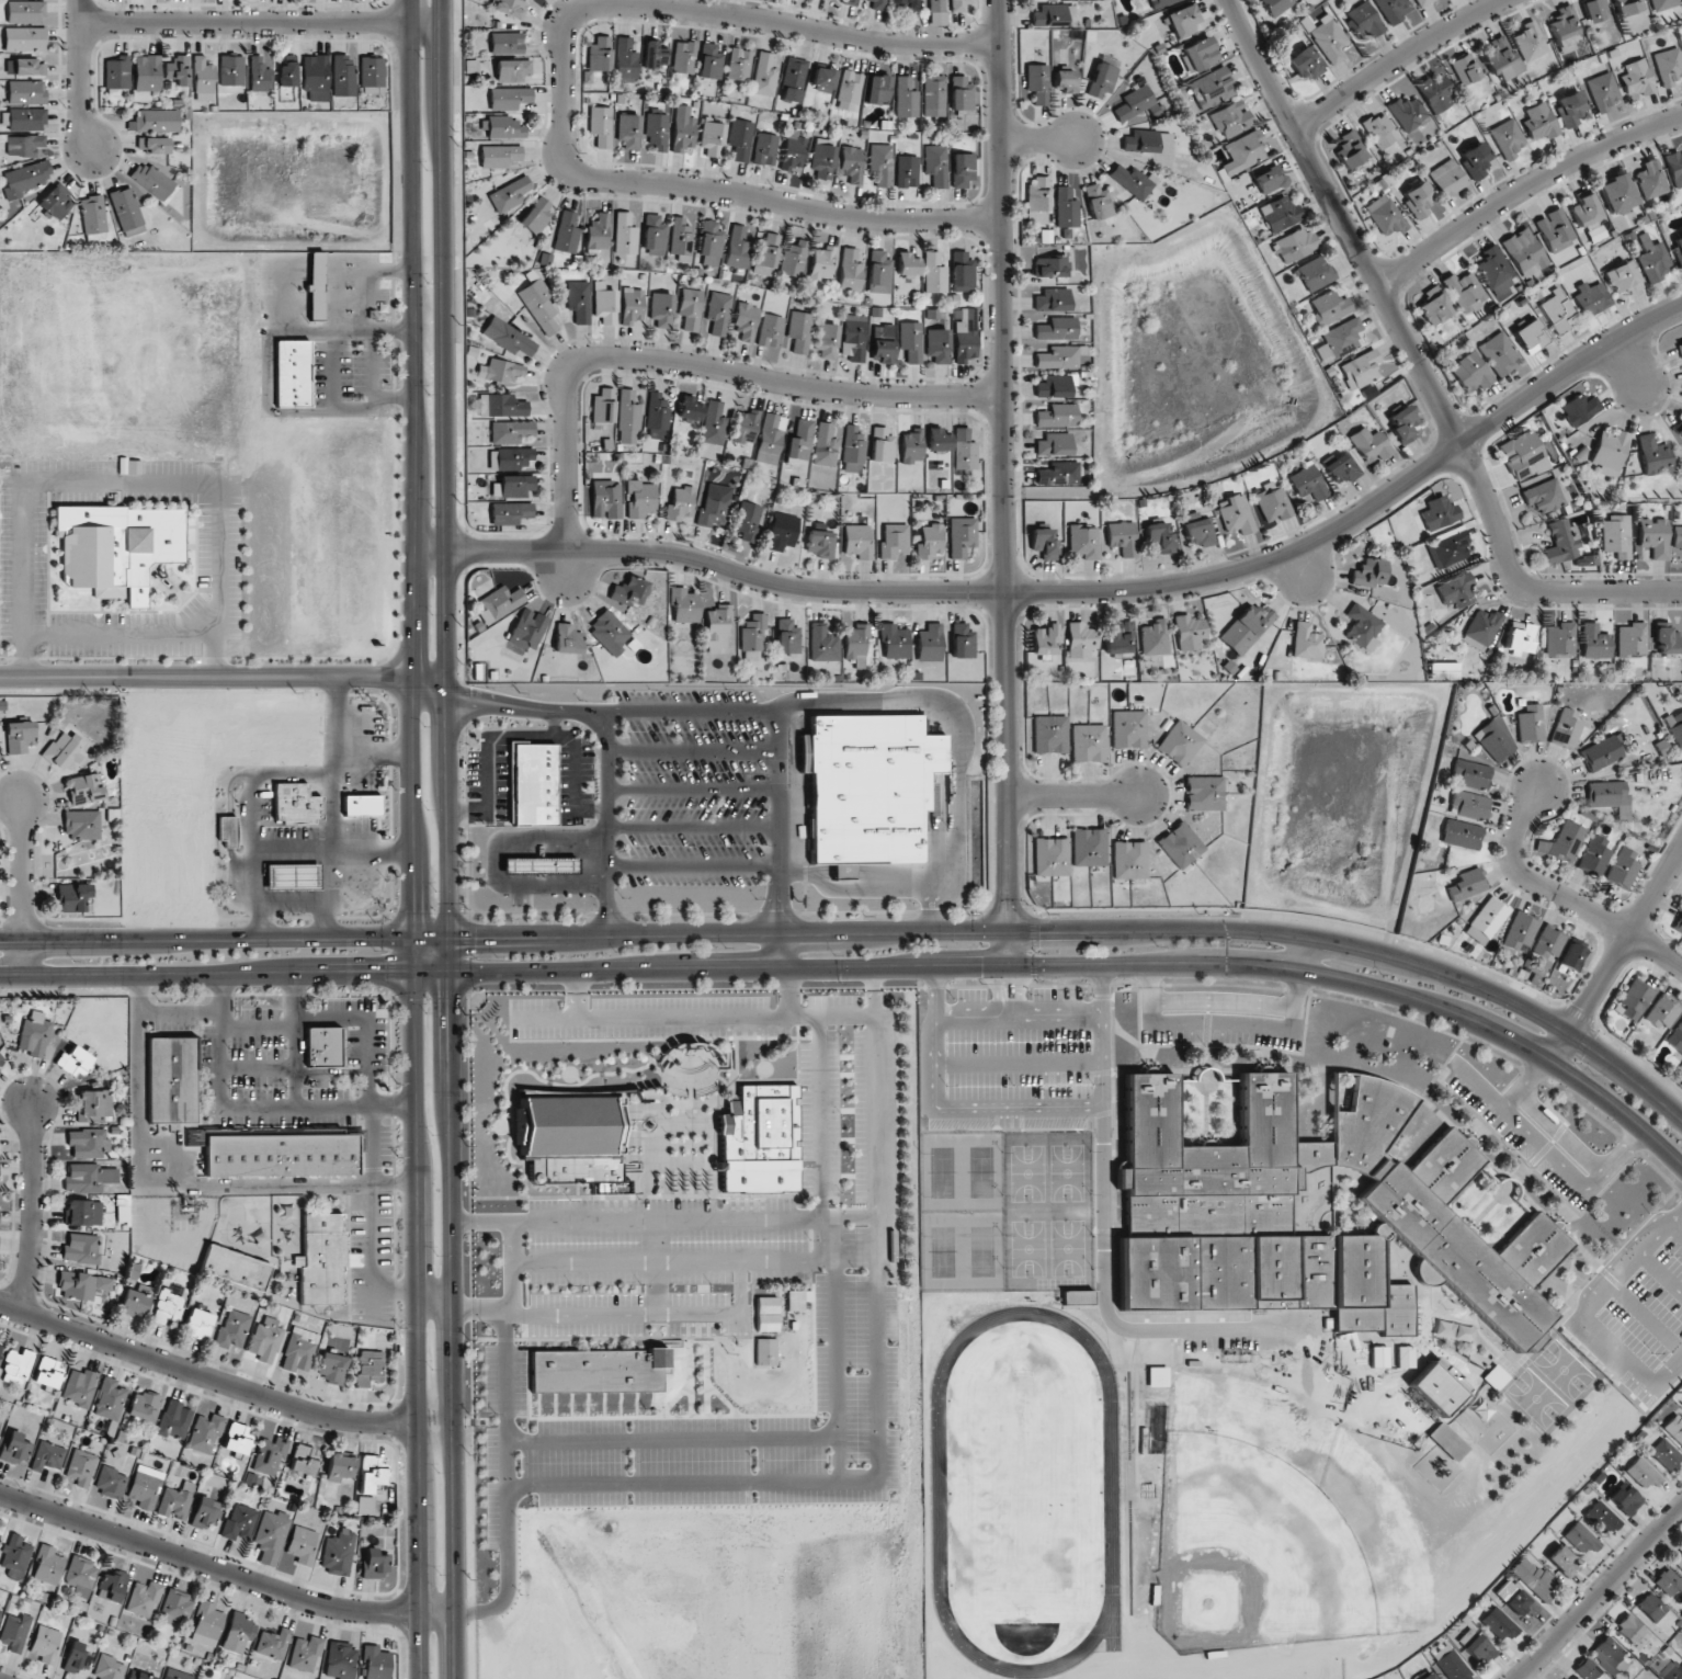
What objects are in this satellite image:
building: (849, 2)
building: (1422, 2)
building: (1160, 3)
building: (878, 4)
building: (959, 4)
building: (1662, 4)
building: (906, 5)
building: (936, 5)
building: (1275, 5)
building: (510, 7)
building: (1391, 9)
building: (1593, 10)
building: (1628, 10)
building: (25, 11)
building: (1054, 15)
building: (1182, 20)
building: (1364, 20)
road: (261, 23)
building: (1562, 27)
building: (25, 38)
building: (1329, 38)
building: (1530, 42)
building: (507, 43)
building: (599, 54)
building: (1200, 54)
building: (654, 55)
building: (684, 57)
building: (1501, 58)
building: (626, 60)
building: (709, 61)
road: (1401, 63)
building: (1306, 64)
building: (739, 65)
building: (1668, 66)
building: (29, 67)
building: (178, 69)
building: (1465, 69)
building: (231, 70)
building: (511, 70)
building: (117, 71)
building: (287, 71)
building: (147, 72)
building: (259, 75)
building: (342, 75)
building: (372, 75)
building: (764, 76)
building: (315, 77)
road: (80, 78)
building: (1637, 78)
building: (203, 79)
building: (822, 79)
building: (794, 80)
building: (1065, 80)
building: (1101, 80)
building: (1037, 83)
building: (1213, 88)
building: (849, 90)
building: (877, 90)
building: (1603, 91)
building: (26, 92)
road: (566, 93)
building: (1435, 93)
building: (933, 95)
building: (509, 98)
building: (906, 98)
building: (1136, 103)
building: (1570, 109)
building: (1408, 112)
building: (1230, 117)
building: (26, 118)
building: (155, 121)
building: (1538, 122)
building: (601, 125)
building: (502, 127)
building: (683, 128)
building: (657, 131)
building: (1378, 131)
building: (629, 132)
building: (713, 138)
building: (740, 139)
building: (1507, 139)
road: (1039, 140)
building: (1140, 140)
building: (24, 145)
building: (152, 145)
building: (765, 149)
building: (1350, 149)
building: (794, 150)
building: (1243, 151)
building: (499, 156)
building: (823, 159)
building: (1475, 159)
building: (880, 163)
building: (852, 165)
building: (935, 165)
building: (1674, 168)
building: (962, 170)
building: (907, 171)
building: (1447, 178)
building: (25, 179)
building: (1269, 179)
building: (1650, 179)
building: (154, 181)
building: (1132, 181)
road: (1524, 190)
building: (1617, 193)
building: (509, 194)
building: (1037, 200)
building: (1418, 200)
building: (56, 201)
building: (1098, 201)
building: (1066, 207)
building: (127, 212)
building: (93, 214)
building: (1281, 214)
building: (536, 215)
building: (1384, 216)
building: (1587, 216)
building: (1554, 229)
building: (598, 231)
building: (566, 232)
building: (625, 234)
building: (654, 235)
building: (681, 237)
building: (711, 243)
building: (1295, 245)
building: (737, 248)
building: (1678, 249)
building: (768, 252)
building: (1524, 252)
building: (794, 259)
building: (1652, 260)
building: (822, 263)
building: (907, 265)
building: (1050, 266)
building: (850, 270)
building: (962, 270)
building: (1495, 270)
building: (878, 272)
building: (934, 273)
building: (1316, 273)
building: (1622, 277)
building: (316, 285)
building: (1465, 291)
building: (1591, 298)
building: (1052, 299)
building: (579, 300)
building: (605, 304)
building: (539, 305)
building: (632, 305)
building: (1433, 306)
building: (1329, 307)
building: (690, 308)
building: (660, 310)
building: (1558, 310)
building: (718, 313)
building: (746, 320)
building: (1056, 329)
building: (771, 330)
building: (799, 331)
building: (965, 334)
building: (1531, 336)
building: (508, 337)
building: (854, 337)
building: (1342, 337)
building: (826, 340)
building: (911, 341)
building: (883, 343)
building: (937, 345)
building: (1680, 349)
building: (1498, 353)
building: (1058, 356)
road: (1420, 362)
road: (682, 363)
road: (1632, 363)
building: (1361, 370)
building: (501, 371)
building: (292, 373)
building: (1470, 373)
building: (1055, 385)
building: (503, 406)
building: (603, 406)
building: (689, 409)
building: (1579, 409)
building: (1057, 416)
building: (657, 417)
building: (628, 418)
building: (713, 423)
building: (1403, 424)
building: (745, 426)
building: (1679, 429)
building: (511, 431)
building: (770, 439)
building: (939, 440)
building: (799, 441)
building: (1054, 444)
building: (1370, 444)
building: (825, 445)
building: (882, 445)
building: (911, 446)
building: (853, 450)
building: (964, 450)
building: (1609, 452)
building: (1523, 455)
building: (1653, 455)
building: (511, 458)
road: (414, 468)
building: (1342, 469)
building: (1058, 474)
road: (121, 483)
road: (1005, 483)
building: (1307, 483)
road: (445, 486)
building: (512, 486)
building: (1546, 495)
building: (606, 499)
building: (640, 499)
building: (1273, 502)
building: (680, 504)
building: (713, 509)
building: (510, 512)
building: (1439, 513)
building: (1236, 514)
building: (748, 521)
building: (1198, 530)
building: (782, 531)
building: (962, 536)
building: (1159, 536)
building: (1616, 536)
building: (1122, 537)
building: (1677, 537)
building: (894, 540)
building: (856, 541)
building: (930, 542)
building: (1043, 542)
building: (1083, 542)
building: (1561, 542)
building: (820, 543)
building: (117, 547)
building: (1447, 547)
building: (1590, 560)
road: (1298, 571)
building: (1457, 590)
building: (629, 591)
road: (1083, 591)
building: (499, 603)
building: (684, 605)
building: (1362, 626)
building: (1247, 628)
building: (1481, 628)
building: (527, 629)
building: (717, 629)
building: (610, 632)
building: (1189, 632)
building: (753, 633)
road: (117, 635)
building: (787, 636)
building: (1118, 637)
building: (1153, 637)
building: (1520, 637)
building: (567, 639)
building: (1044, 639)
building: (1080, 639)
building: (1560, 639)
building: (1666, 639)
building: (962, 640)
building: (1632, 640)
building: (856, 642)
building: (894, 642)
building: (1594, 642)
building: (822, 643)
building: (929, 643)
building: (1306, 643)
building: (1474, 667)
road: (223, 677)
road: (876, 701)
building: (1530, 723)
road: (554, 725)
building: (1566, 728)
building: (1675, 728)
building: (1128, 729)
building: (1049, 735)
building: (19, 736)
road: (541, 738)
building: (1493, 740)
building: (1088, 742)
building: (1179, 744)
building: (65, 751)
road: (692, 751)
building: (1601, 752)
road: (374, 755)
building: (1469, 774)
building: (533, 784)
building: (868, 786)
building: (83, 790)
road: (693, 791)
building: (1204, 793)
building: (1609, 795)
road: (1075, 796)
building: (296, 804)
building: (1469, 804)
building: (362, 805)
road: (331, 807)
road: (469, 809)
road: (229, 818)
road: (253, 819)
road: (779, 821)
road: (607, 824)
building: (86, 825)
road: (693, 827)
building: (228, 831)
building: (1461, 833)
building: (1564, 842)
building: (1181, 844)
road: (292, 847)
building: (1089, 847)
road: (372, 854)
building: (1593, 855)
building: (1052, 856)
building: (1129, 860)
road: (498, 864)
building: (539, 864)
road: (693, 865)
building: (1622, 869)
building: (843, 872)
road: (860, 872)
building: (293, 875)
building: (1467, 884)
road: (24, 887)
building: (73, 897)
road: (1564, 897)
road: (291, 901)
traffic signals: (414, 907)
road: (931, 910)
building: (1489, 917)
building: (1678, 924)
building: (1520, 931)
road: (1072, 933)
traffic signals: (477, 937)
road: (206, 939)
building: (1548, 941)
road: (1626, 943)
road: (785, 950)
building: (1571, 953)
road: (1306, 955)
road: (1007, 965)
road: (1093, 965)
traffic signals: (380, 973)
road: (224, 974)
road: (787, 991)
road: (576, 995)
building: (1633, 999)
road: (1225, 1000)
traffic signals: (450, 1003)
road: (179, 1012)
building: (1662, 1012)
road: (1018, 1014)
road: (694, 1017)
road: (1224, 1023)
road: (257, 1028)
building: (34, 1034)
building: (1675, 1037)
road: (294, 1040)
parking lot: (1024, 1040)
road: (1558, 1046)
building: (322, 1047)
building: (1, 1059)
building: (76, 1060)
road: (1019, 1062)
road: (258, 1067)
road: (331, 1073)
building: (172, 1079)
road: (1526, 1082)
road: (1479, 1084)
building: (94, 1104)
road: (251, 1105)
road: (947, 1107)
road: (876, 1123)
road: (370, 1132)
road: (1560, 1133)
building: (572, 1141)
building: (760, 1141)
building: (88, 1142)
building: (276, 1152)
road: (174, 1160)
park: (943, 1172)
park: (981, 1172)
park: (1067, 1172)
park: (1027, 1173)
road: (1573, 1177)
building: (88, 1178)
road: (170, 1189)
road: (32, 1205)
building: (83, 1212)
building: (1310, 1215)
road: (664, 1218)
road: (1677, 1229)
road: (1661, 1234)
road: (1102, 1239)
building: (81, 1248)
park: (1068, 1248)
road: (180, 1249)
park: (1028, 1249)
park: (943, 1251)
park: (981, 1251)
road: (1620, 1255)
building: (321, 1259)
road: (787, 1261)
road: (656, 1267)
building: (235, 1268)
road: (1661, 1273)
building: (76, 1285)
road: (1607, 1289)
road: (394, 1293)
road: (434, 1293)
building: (797, 1300)
building: (136, 1301)
building: (167, 1307)
road: (417, 1308)
road: (481, 1309)
building: (766, 1314)
road: (652, 1315)
road: (1643, 1315)
building: (198, 1324)
road: (511, 1324)
road: (453, 1325)
building: (234, 1330)
building: (265, 1341)
building: (0, 1348)
building: (299, 1350)
building: (765, 1351)
building: (1378, 1357)
building: (1405, 1357)
road: (1633, 1363)
building: (18, 1366)
building: (370, 1366)
building: (332, 1368)
building: (598, 1370)
park: (1564, 1370)
building: (48, 1372)
building: (1158, 1376)
road: (205, 1377)
building: (80, 1387)
park: (1536, 1398)
building: (110, 1399)
building: (144, 1405)
building: (174, 1420)
building: (0, 1423)
building: (1674, 1428)
building: (205, 1433)
building: (237, 1438)
building: (1447, 1441)
building: (14, 1448)
building: (1664, 1454)
building: (270, 1455)
building: (47, 1456)
building: (304, 1460)
building: (80, 1466)
building: (339, 1467)
building: (1643, 1473)
building: (373, 1474)
building: (110, 1482)
building: (145, 1486)
track: (1111, 1495)
building: (1623, 1500)
building: (365, 1505)
building: (205, 1513)
building: (1602, 1517)
building: (239, 1521)
building: (0, 1531)
building: (271, 1535)
building: (1580, 1539)
building: (302, 1545)
building: (338, 1552)
park: (1252, 1552)
building: (15, 1556)
building: (1560, 1561)
building: (1679, 1561)
building: (374, 1564)
building: (47, 1565)
road: (224, 1573)
building: (81, 1576)
building: (1533, 1578)
building: (1667, 1581)
building: (112, 1585)
road: (1599, 1592)
building: (143, 1598)
building: (1519, 1602)
building: (177, 1604)
building: (1650, 1607)
building: (0, 1612)
building: (207, 1624)
building: (1500, 1624)
building: (1629, 1629)
building: (14, 1631)
building: (238, 1633)
building: (273, 1643)
building: (46, 1644)
building: (1476, 1646)
building: (1681, 1650)
building: (305, 1654)
building: (1610, 1655)
building: (76, 1657)
building: (341, 1660)
building: (376, 1663)
building: (1450, 1664)
building: (109, 1668)
building: (1588, 1670)
building: (1673, 1670)
building: (177, 1675)
building: (139, 1676)
building: (1428, 1676)
building: (1565, 1678)

